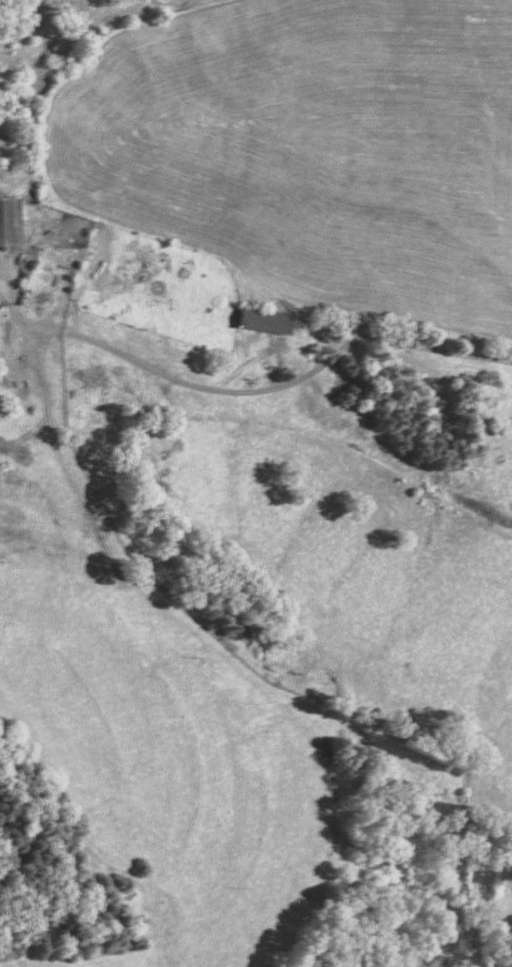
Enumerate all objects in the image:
building: (8, 224)
building: (261, 324)

